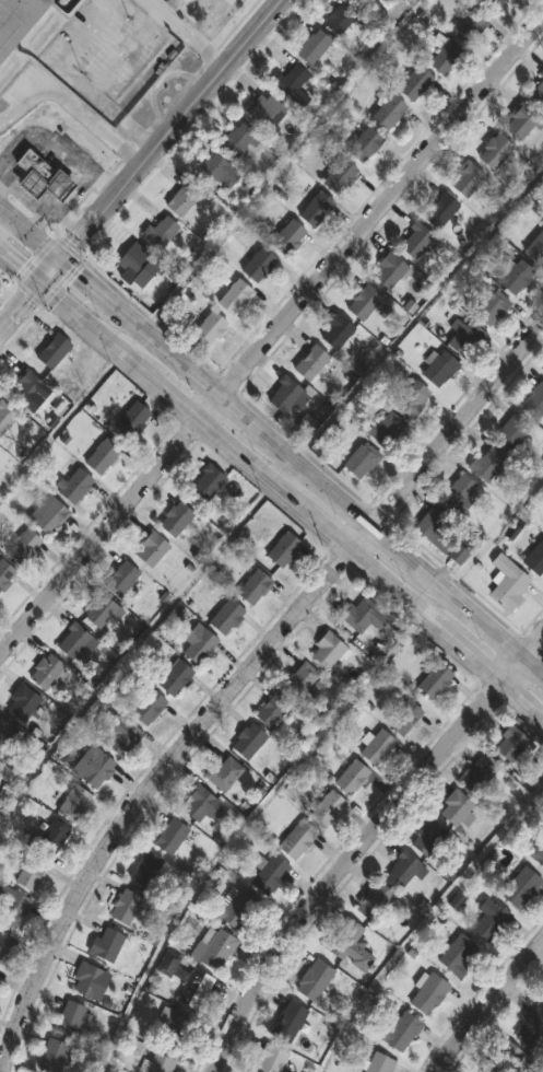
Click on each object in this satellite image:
building: (362, 2)
building: (492, 3)
park: (213, 5)
road: (146, 8)
park: (212, 15)
building: (340, 19)
building: (17, 21)
road: (215, 26)
building: (469, 26)
road: (188, 39)
building: (312, 46)
building: (446, 56)
building: (415, 82)
road: (80, 84)
road: (161, 85)
building: (538, 93)
road: (70, 109)
building: (264, 109)
building: (388, 112)
building: (520, 120)
road: (167, 126)
building: (237, 140)
building: (364, 144)
road: (52, 147)
building: (495, 152)
road: (281, 162)
gas station: (34, 167)
building: (215, 173)
building: (340, 176)
building: (467, 179)
building: (47, 187)
building: (180, 201)
building: (316, 209)
building: (441, 211)
road: (47, 217)
road: (38, 222)
road: (68, 223)
building: (160, 230)
building: (288, 237)
building: (416, 242)
building: (535, 249)
traffic signals: (61, 252)
building: (133, 260)
road: (19, 264)
building: (258, 265)
road: (49, 266)
building: (390, 271)
building: (512, 276)
traffic signals: (38, 281)
building: (235, 296)
building: (364, 303)
road: (19, 304)
building: (491, 307)
road: (420, 313)
building: (209, 328)
building: (337, 331)
road: (271, 334)
building: (462, 338)
building: (54, 352)
building: (311, 363)
building: (439, 369)
building: (27, 391)
building: (285, 395)
building: (412, 398)
building: (534, 404)
building: (132, 417)
building: (5, 418)
road: (62, 428)
building: (386, 429)
building: (512, 431)
road: (272, 435)
building: (103, 457)
building: (361, 461)
building: (486, 463)
building: (206, 485)
building: (74, 486)
building: (459, 493)
road: (293, 497)
building: (48, 515)
building: (177, 521)
road: (499, 528)
building: (440, 535)
building: (24, 548)
building: (152, 550)
building: (285, 550)
building: (535, 559)
building: (5, 574)
building: (122, 579)
building: (507, 583)
building: (255, 587)
building: (99, 610)
building: (225, 615)
building: (362, 615)
building: (73, 641)
building: (199, 645)
road: (131, 646)
building: (328, 651)
building: (46, 672)
road: (238, 675)
building: (175, 678)
building: (299, 679)
building: (435, 680)
building: (22, 704)
building: (149, 708)
building: (274, 709)
building: (404, 718)
building: (4, 731)
building: (119, 735)
building: (249, 741)
building: (512, 745)
building: (378, 747)
building: (94, 766)
building: (0, 769)
building: (224, 772)
building: (477, 776)
building: (352, 777)
building: (197, 801)
building: (74, 804)
building: (329, 807)
building: (457, 809)
road: (241, 828)
building: (172, 835)
building: (52, 838)
road: (362, 839)
building: (428, 839)
building: (298, 840)
building: (538, 852)
building: (405, 869)
building: (147, 871)
building: (32, 873)
building: (269, 875)
building: (521, 887)
building: (375, 900)
building: (126, 906)
building: (12, 907)
building: (234, 908)
building: (491, 919)
road: (425, 922)
building: (4, 941)
building: (347, 943)
building: (108, 945)
building: (215, 949)
building: (458, 956)
building: (87, 979)
building: (315, 980)
building: (193, 988)
building: (542, 992)
building: (429, 994)
building: (542, 994)
road: (484, 1001)
building: (70, 1018)
building: (290, 1021)
building: (531, 1027)
building: (174, 1029)
building: (402, 1030)
building: (54, 1056)
building: (508, 1058)
building: (270, 1060)
building: (161, 1063)
building: (380, 1063)

